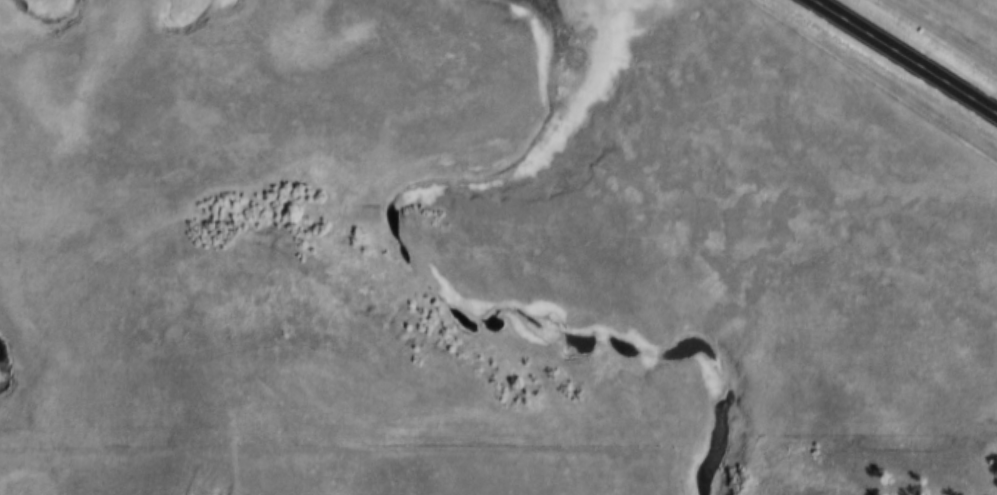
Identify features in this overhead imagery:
road: (902, 57)

